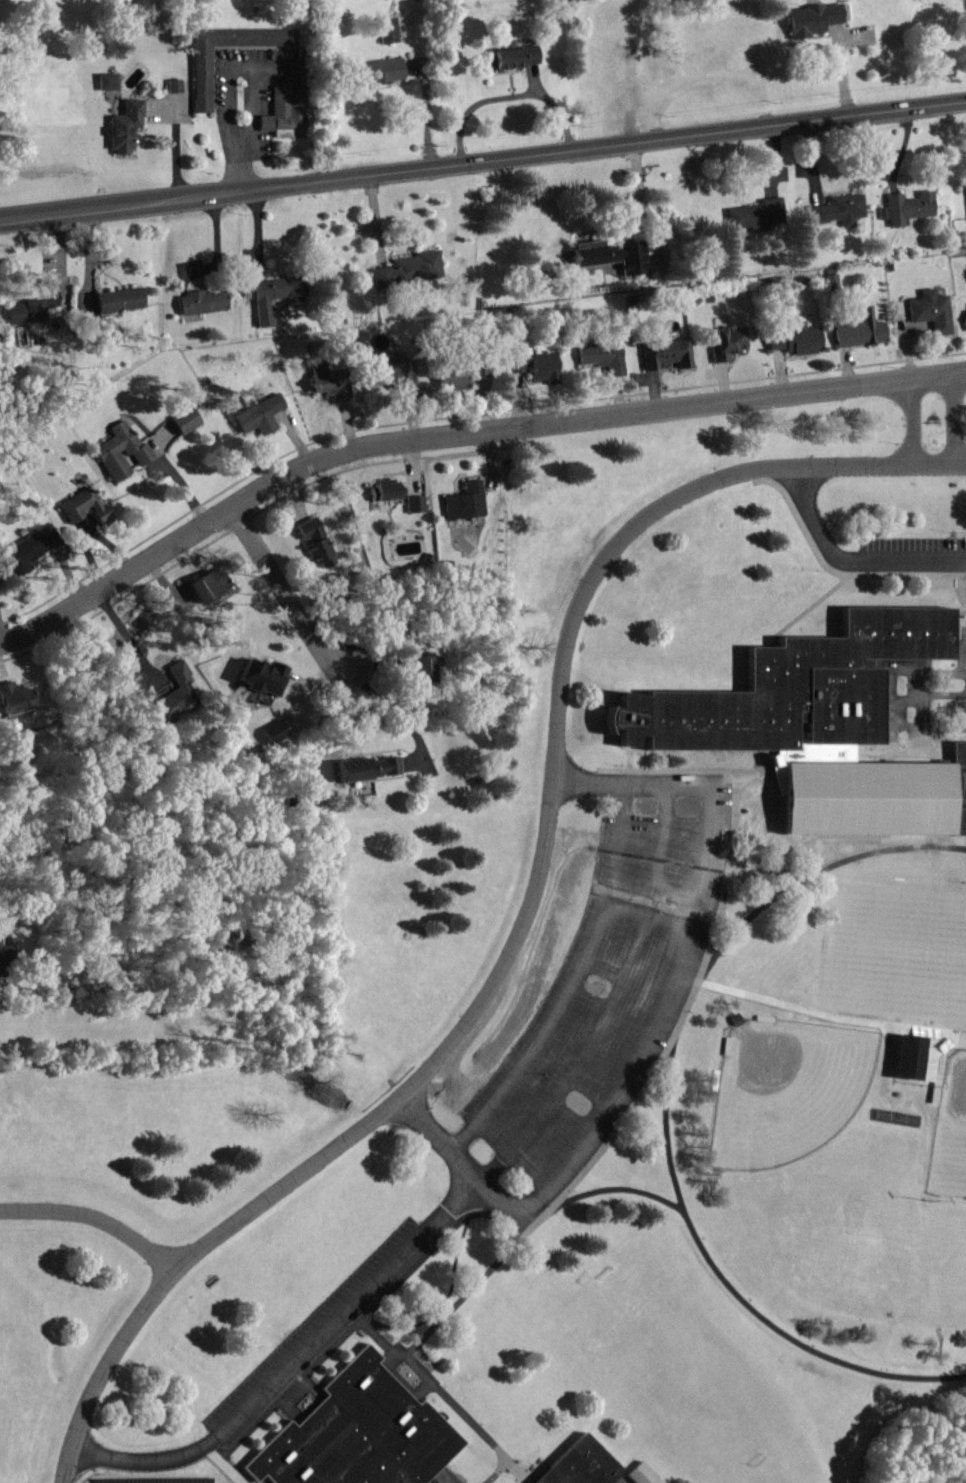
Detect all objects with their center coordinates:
building: (809, 19)
building: (387, 29)
building: (510, 56)
building: (376, 71)
building: (200, 79)
building: (105, 81)
building: (172, 85)
building: (282, 113)
building: (122, 126)
road: (483, 159)
building: (908, 207)
building: (837, 209)
building: (754, 215)
building: (606, 255)
building: (408, 270)
building: (271, 295)
building: (115, 300)
building: (200, 302)
building: (33, 310)
building: (929, 311)
building: (965, 318)
building: (857, 327)
building: (792, 338)
building: (378, 340)
building: (726, 340)
building: (664, 352)
building: (599, 355)
building: (532, 365)
building: (394, 373)
building: (456, 374)
building: (326, 380)
building: (258, 415)
road: (953, 415)
road: (910, 417)
building: (183, 420)
road: (458, 429)
building: (119, 450)
road: (938, 462)
building: (385, 491)
building: (463, 501)
building: (415, 504)
building: (82, 509)
building: (315, 542)
building: (25, 551)
road: (846, 561)
building: (206, 584)
road: (312, 643)
building: (418, 668)
building: (257, 677)
building: (790, 691)
building: (177, 694)
building: (15, 697)
road: (926, 729)
building: (272, 732)
building: (366, 769)
building: (957, 789)
road: (944, 839)
road: (516, 934)
road: (690, 944)
road: (571, 979)
road: (612, 996)
building: (904, 1060)
road: (668, 1127)
road: (459, 1159)
road: (96, 1211)
road: (294, 1359)
building: (358, 1432)
building: (580, 1464)
building: (643, 1474)

